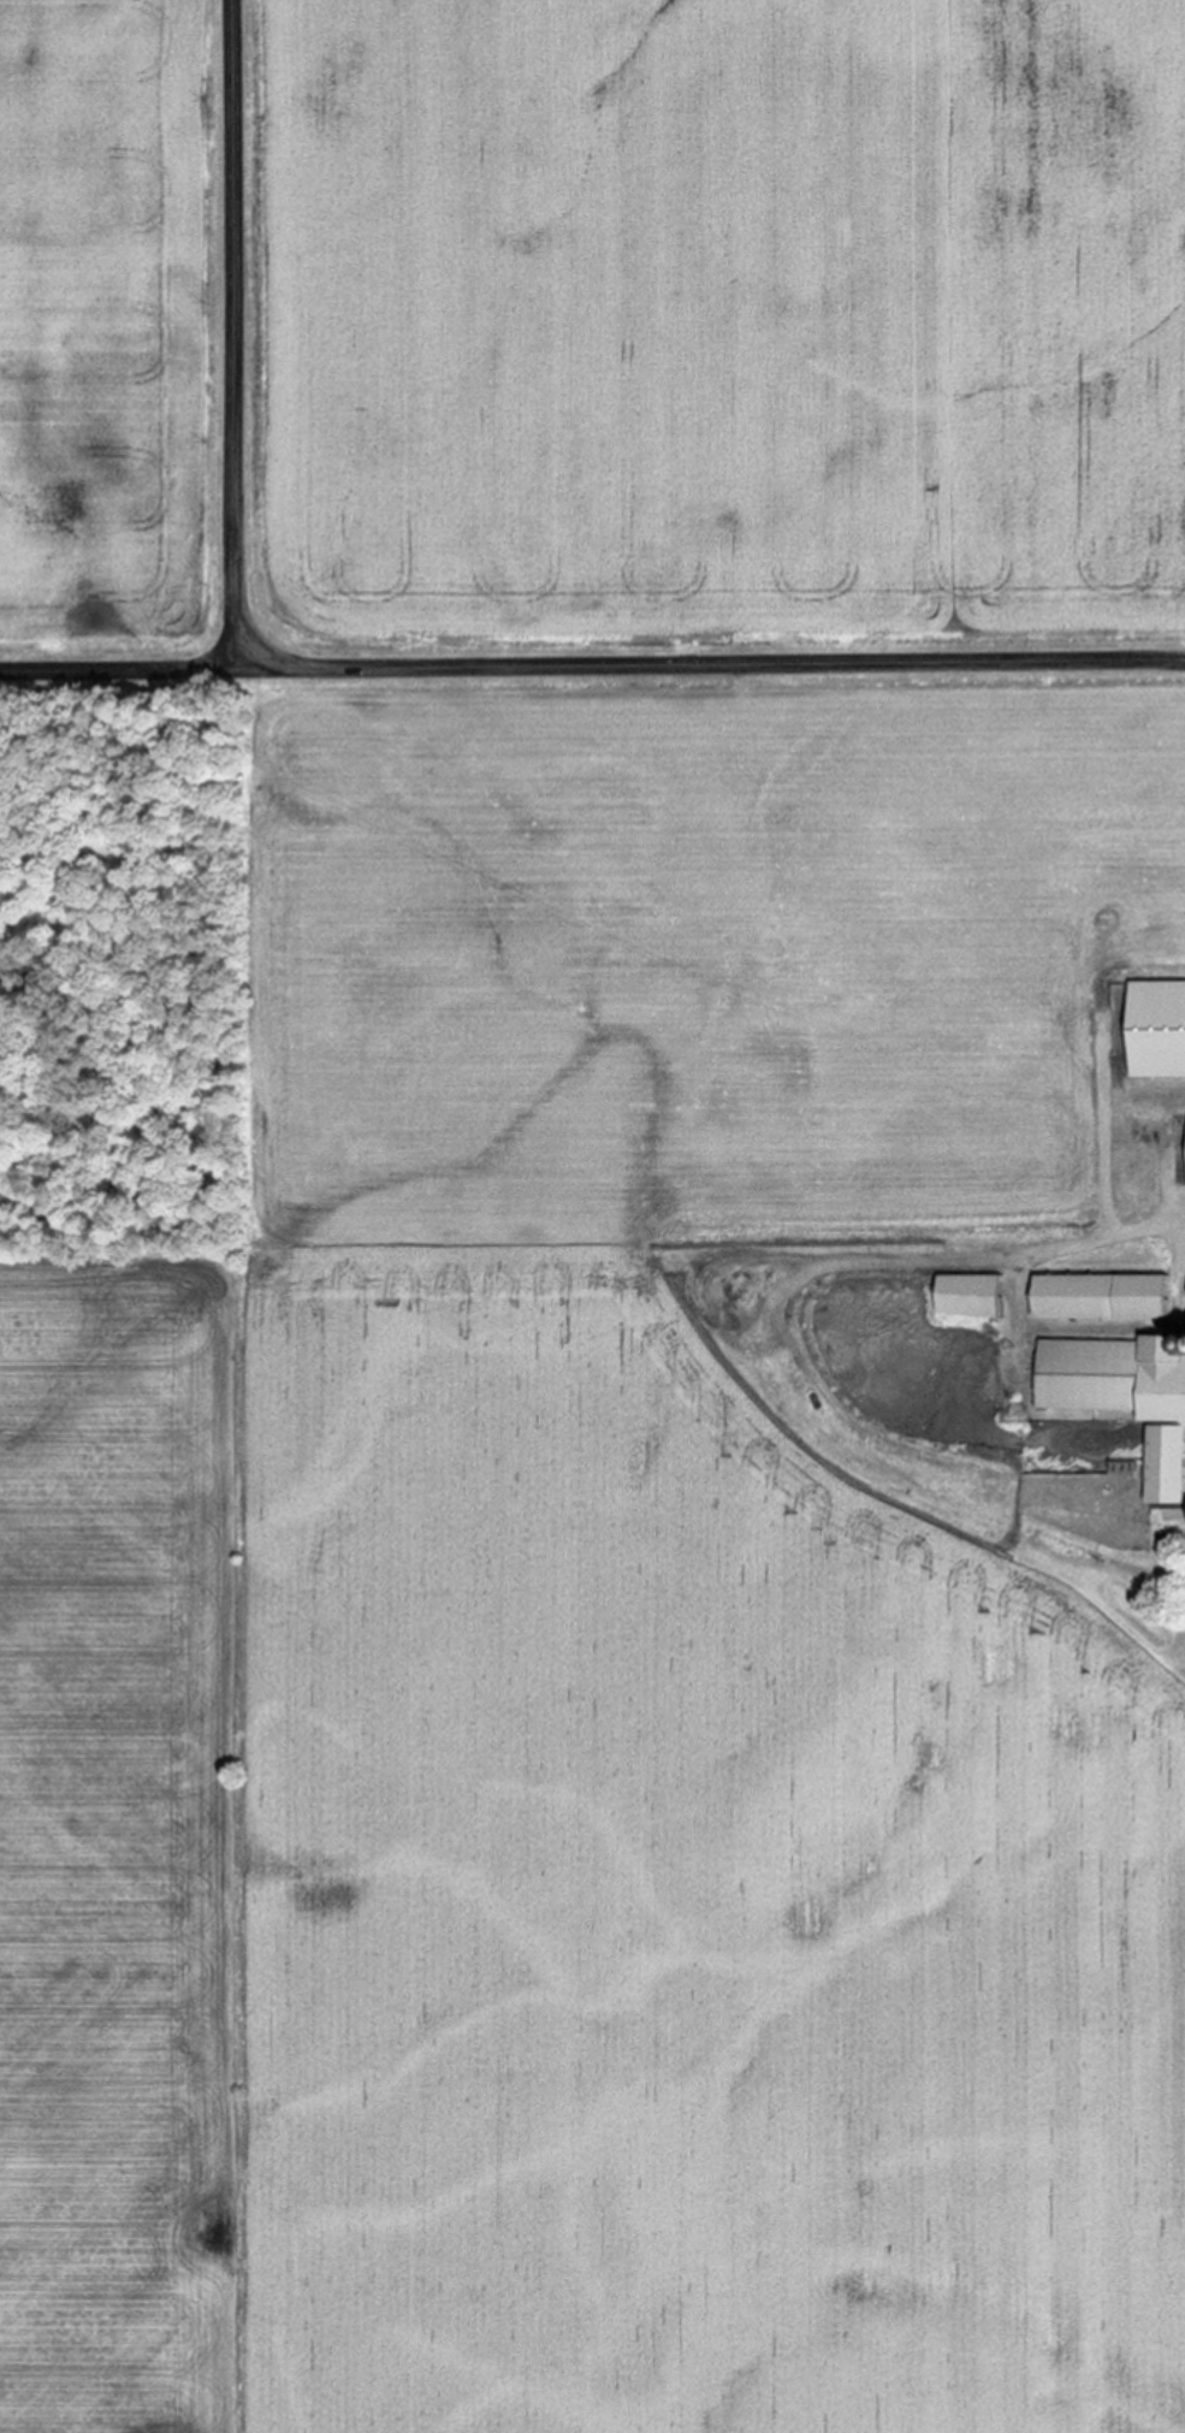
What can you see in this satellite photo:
road: (233, 335)
road: (592, 665)
building: (1154, 1030)
building: (964, 1296)
building: (1124, 1397)
building: (1173, 1514)

